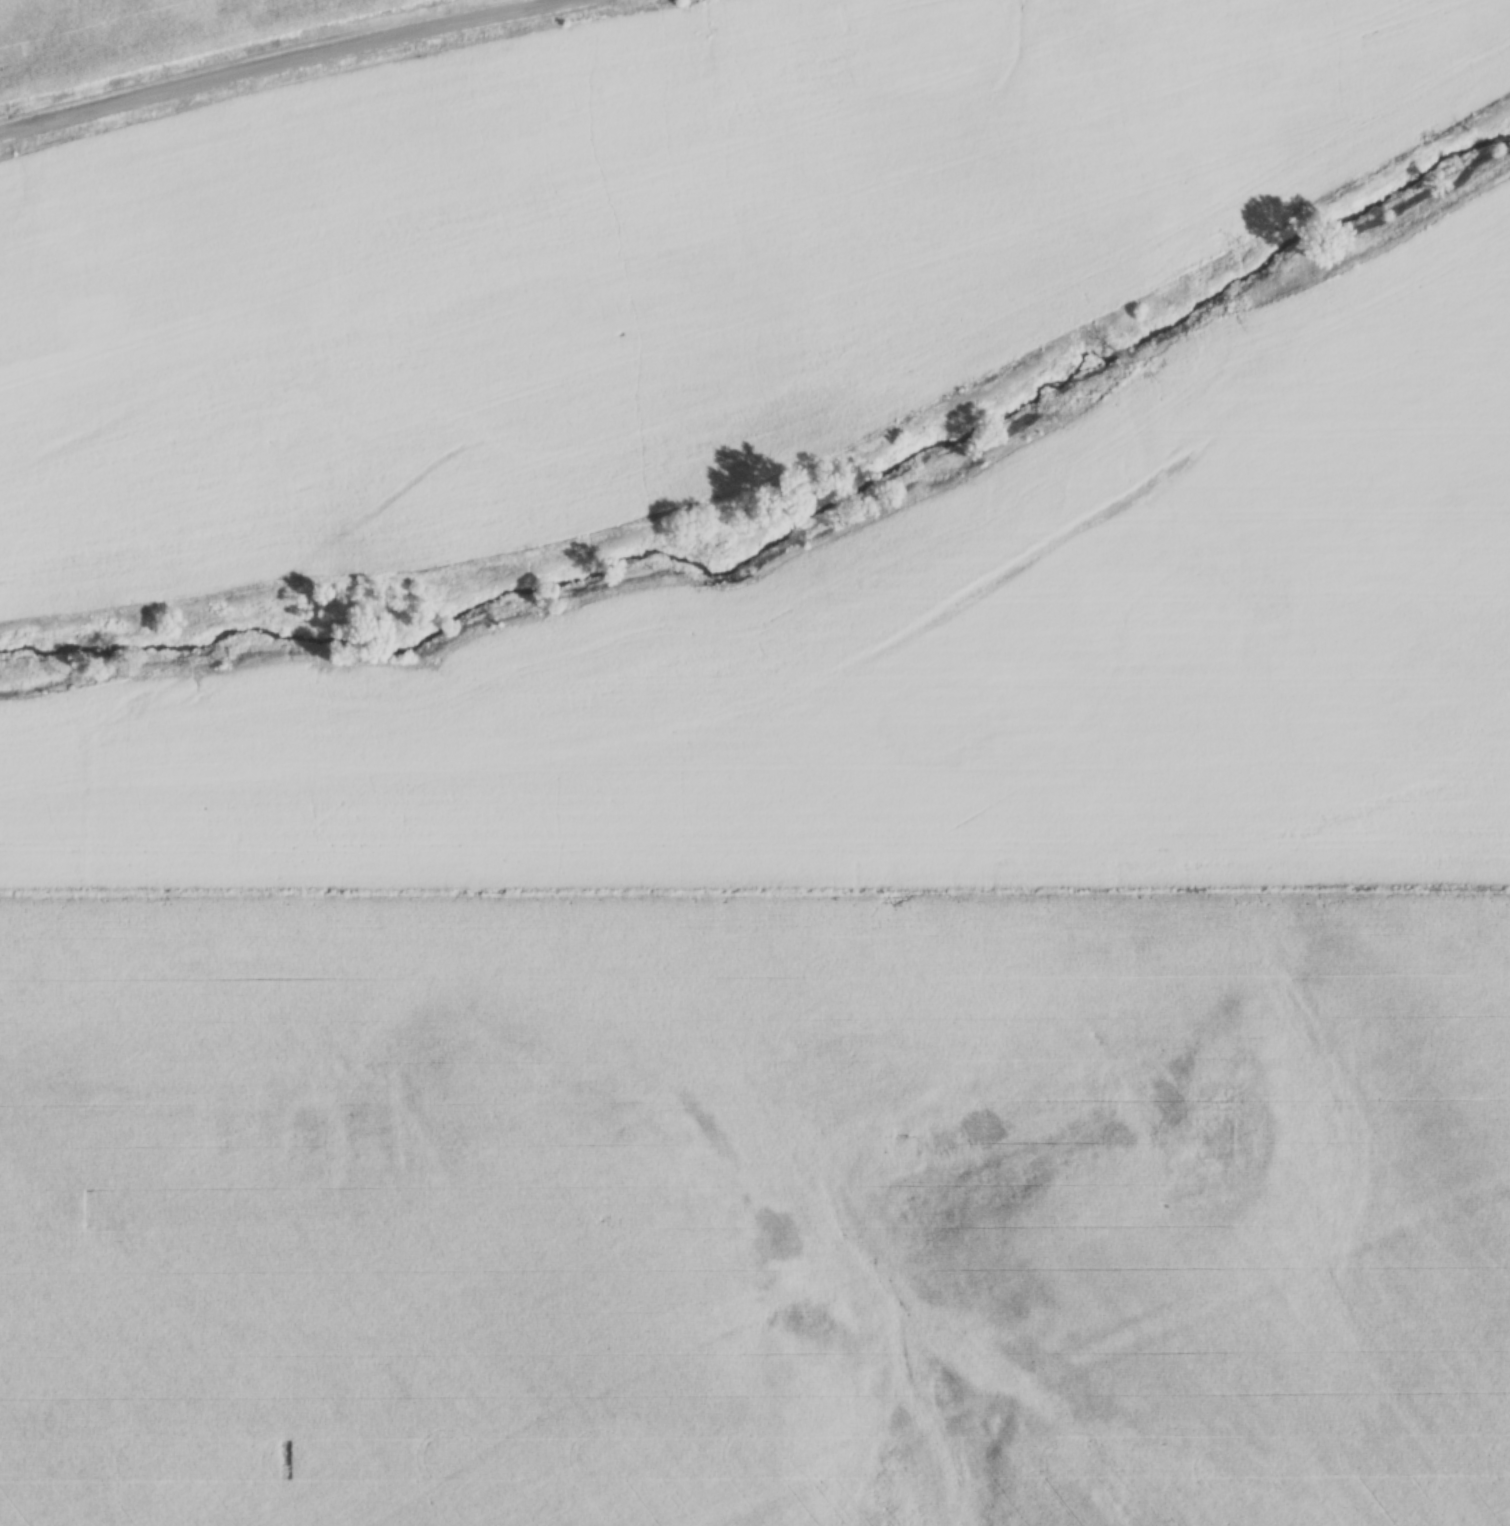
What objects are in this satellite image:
road: (276, 67)

